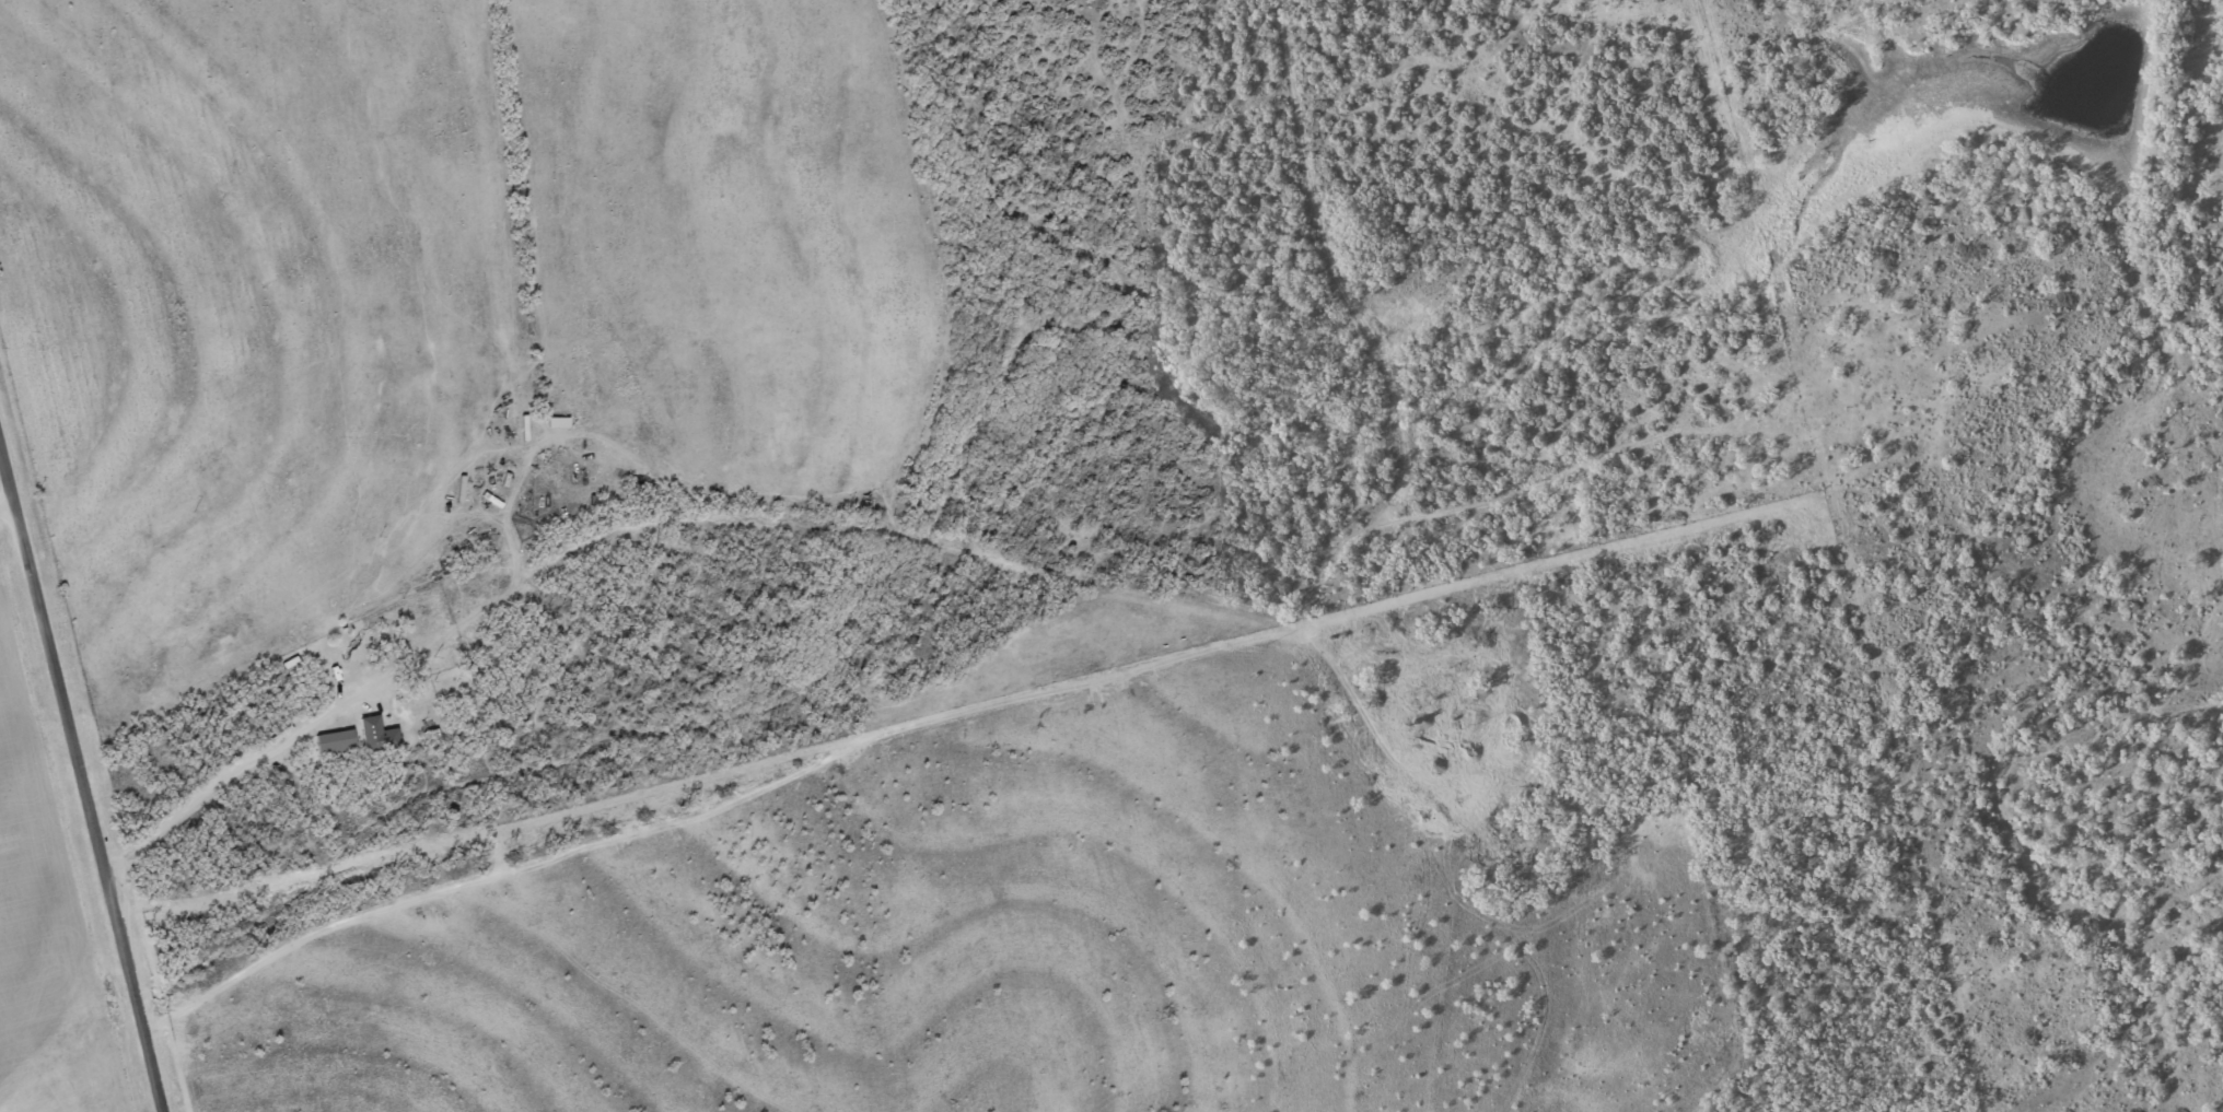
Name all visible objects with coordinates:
road: (8, 498)
road: (705, 514)
building: (1431, 728)
building: (339, 741)
road: (82, 771)

